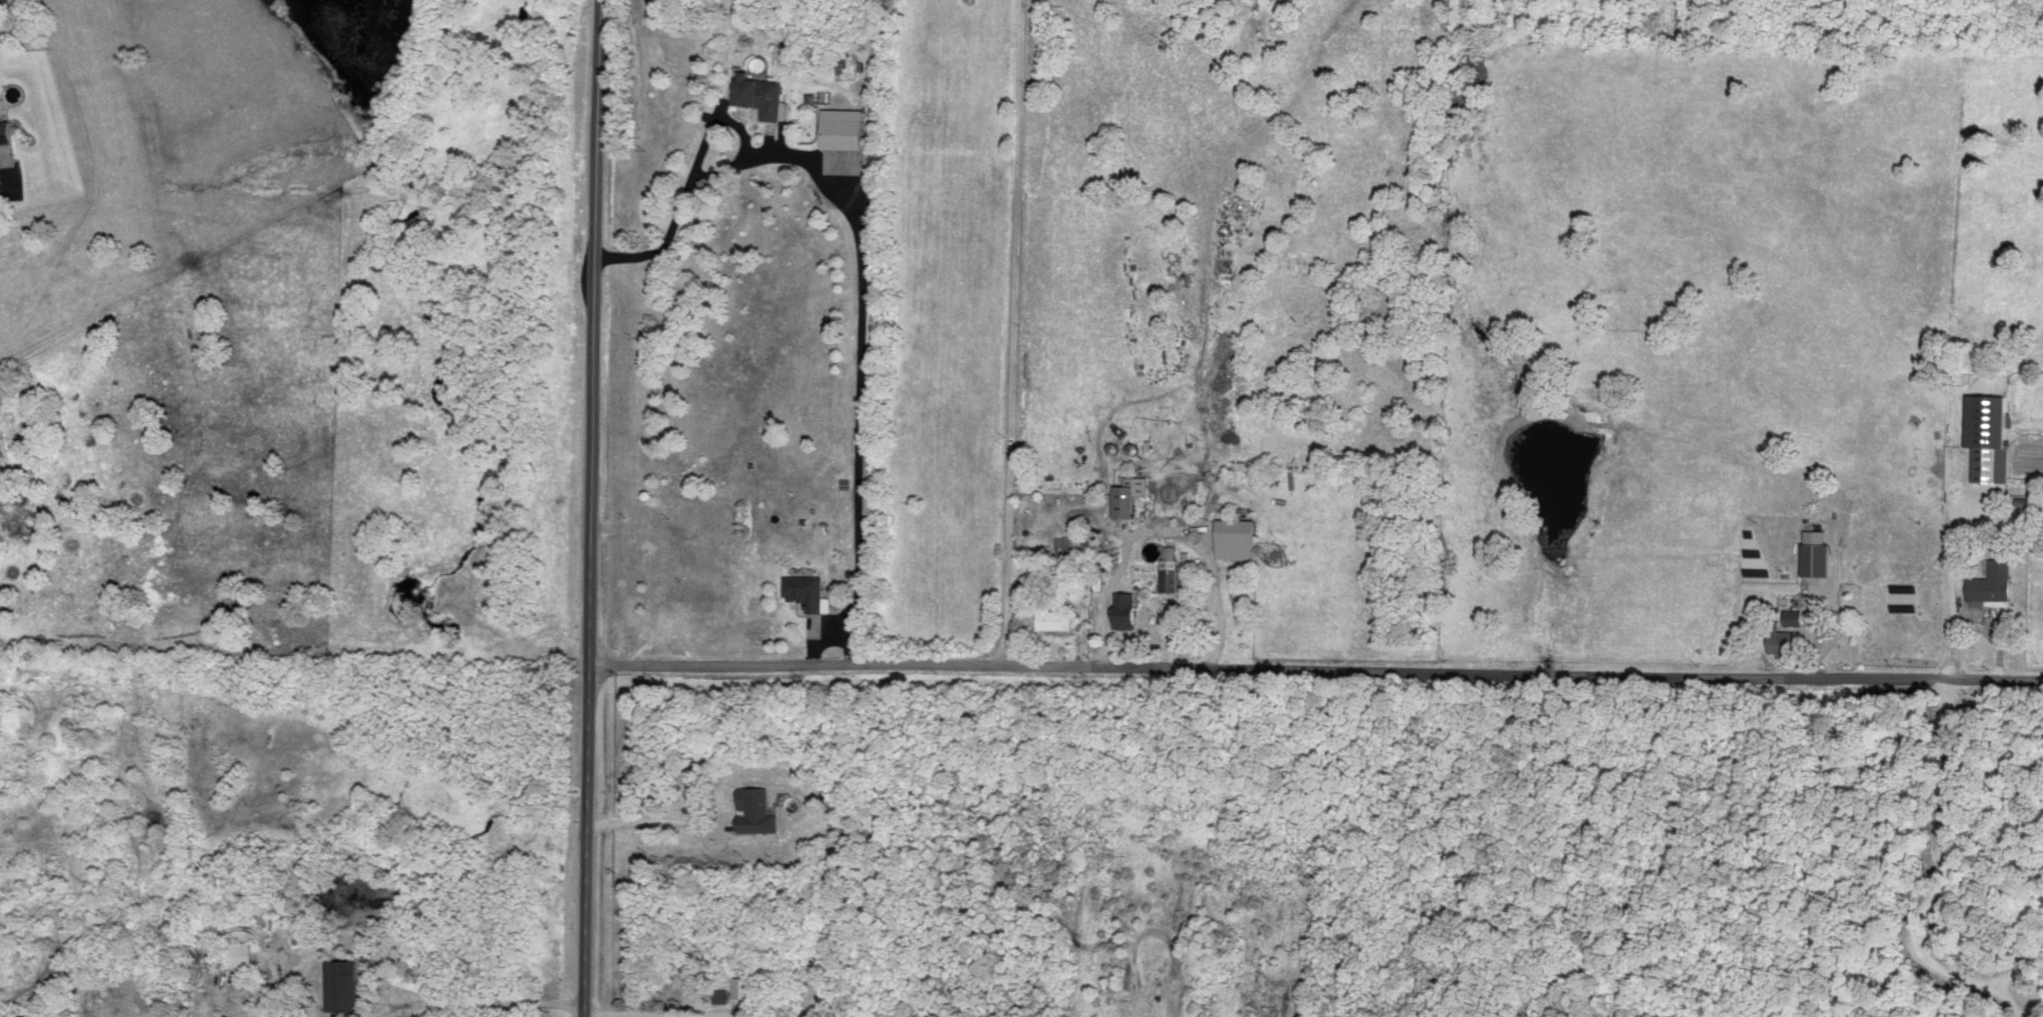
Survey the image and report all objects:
building: (765, 94)
building: (848, 127)
building: (8, 130)
road: (862, 273)
road: (1013, 334)
building: (1987, 434)
building: (1132, 494)
road: (590, 508)
road: (1163, 529)
building: (1239, 538)
building: (1819, 551)
building: (1174, 569)
building: (1995, 580)
building: (808, 589)
building: (1129, 608)
building: (1057, 617)
road: (820, 635)
building: (1784, 641)
road: (1315, 672)
building: (757, 809)
road: (652, 830)
road: (1942, 862)
building: (239, 952)
road: (2018, 973)
building: (345, 983)
building: (742, 985)
building: (722, 993)
road: (2008, 1003)
road: (493, 1004)

